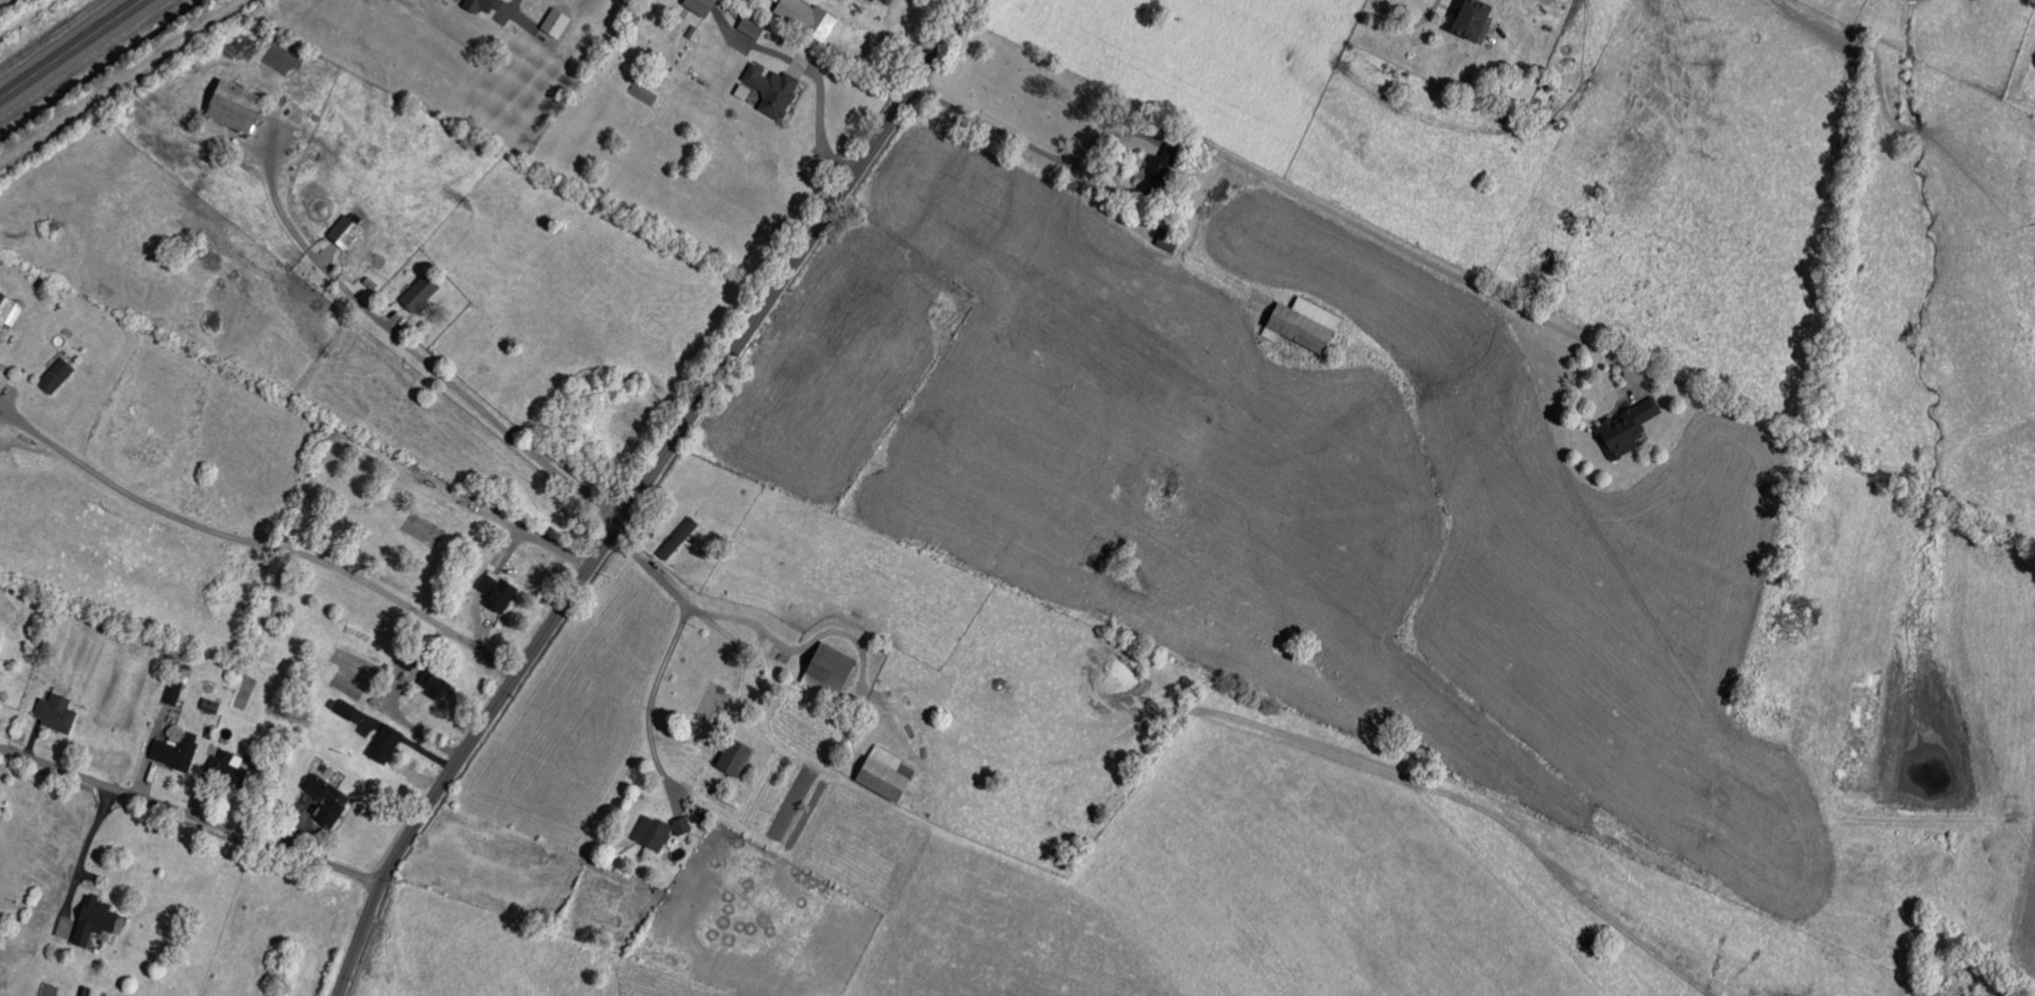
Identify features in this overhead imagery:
building: (886, 0)
building: (487, 6)
building: (699, 7)
building: (805, 19)
building: (1469, 22)
road: (1407, 24)
building: (562, 25)
building: (750, 28)
building: (849, 40)
road: (71, 49)
road: (818, 85)
building: (770, 92)
building: (246, 109)
building: (1151, 175)
road: (1285, 188)
building: (351, 233)
building: (426, 297)
building: (11, 314)
building: (1298, 326)
building: (61, 378)
road: (502, 430)
building: (1624, 430)
road: (643, 491)
road: (262, 538)
building: (677, 541)
building: (503, 594)
road: (668, 652)
building: (411, 659)
building: (824, 670)
building: (439, 687)
building: (177, 696)
building: (214, 708)
building: (351, 712)
building: (63, 716)
building: (389, 746)
building: (182, 753)
building: (730, 760)
building: (904, 773)
building: (879, 775)
building: (332, 803)
road: (191, 817)
building: (680, 828)
road: (90, 835)
building: (650, 835)
building: (102, 923)

